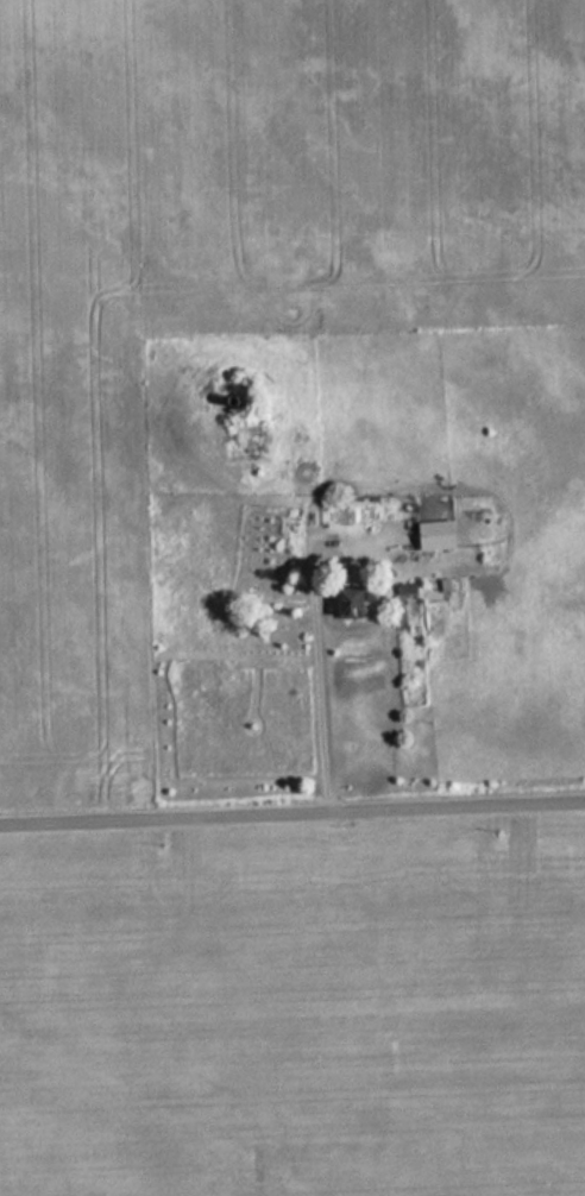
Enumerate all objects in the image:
power tower: (121, 316)
building: (252, 382)
building: (433, 534)
building: (346, 602)
road: (292, 812)

